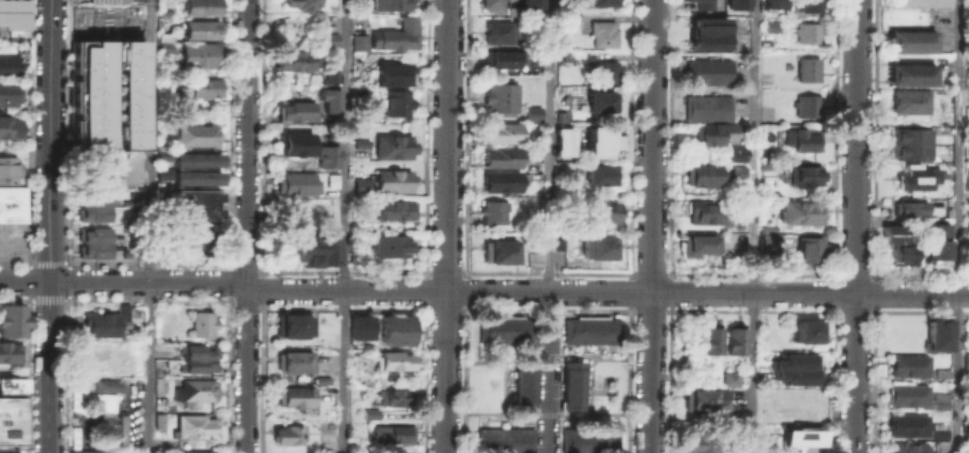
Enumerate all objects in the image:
building: (103, 1)
building: (595, 2)
building: (297, 3)
building: (390, 3)
building: (487, 3)
building: (528, 3)
building: (734, 3)
building: (775, 3)
building: (918, 3)
building: (703, 4)
building: (806, 4)
building: (200, 5)
building: (162, 10)
building: (14, 14)
building: (571, 19)
building: (199, 26)
building: (498, 30)
building: (805, 31)
building: (164, 32)
building: (601, 32)
building: (394, 34)
building: (165, 36)
building: (324, 36)
building: (702, 36)
building: (358, 39)
building: (908, 40)
building: (164, 44)
building: (80, 47)
building: (199, 53)
building: (582, 54)
building: (497, 57)
building: (296, 58)
building: (8, 64)
building: (805, 68)
building: (606, 70)
building: (707, 70)
building: (80, 71)
building: (392, 72)
building: (907, 73)
building: (200, 85)
building: (328, 89)
building: (8, 92)
building: (116, 92)
building: (80, 95)
building: (968, 96)
building: (501, 97)
building: (357, 99)
building: (600, 99)
building: (908, 100)
building: (395, 101)
building: (805, 105)
building: (706, 106)
building: (292, 110)
building: (968, 112)
building: (532, 113)
building: (560, 116)
building: (7, 126)
building: (79, 129)
building: (498, 131)
building: (712, 131)
building: (194, 133)
building: (801, 138)
building: (562, 141)
building: (602, 141)
building: (293, 142)
building: (359, 142)
building: (909, 142)
building: (392, 145)
road: (549, 145)
building: (161, 152)
building: (324, 153)
building: (194, 155)
building: (499, 155)
building: (8, 168)
building: (161, 170)
building: (737, 171)
building: (600, 172)
building: (702, 173)
building: (193, 174)
building: (802, 174)
building: (100, 177)
building: (917, 177)
building: (391, 179)
building: (967, 179)
building: (331, 180)
building: (499, 180)
building: (294, 181)
building: (359, 184)
building: (94, 197)
building: (191, 202)
building: (12, 203)
building: (393, 208)
building: (906, 208)
building: (491, 210)
building: (704, 210)
building: (597, 211)
building: (799, 211)
building: (93, 212)
road: (50, 226)
road: (150, 226)
road: (247, 226)
road: (345, 226)
road: (447, 226)
road: (651, 226)
road: (753, 226)
road: (855, 226)
road: (959, 226)
building: (766, 228)
building: (93, 234)
building: (187, 236)
building: (766, 239)
building: (389, 242)
building: (557, 242)
building: (935, 243)
building: (693, 244)
building: (896, 244)
building: (597, 245)
building: (306, 246)
building: (93, 249)
building: (496, 249)
building: (805, 249)
building: (124, 253)
building: (529, 254)
road: (0, 259)
road: (48, 262)
road: (68, 279)
road: (28, 280)
road: (483, 291)
road: (47, 297)
building: (11, 315)
building: (199, 321)
building: (106, 322)
building: (291, 323)
building: (358, 327)
building: (396, 328)
building: (506, 329)
building: (588, 329)
building: (804, 330)
building: (935, 334)
building: (706, 337)
building: (732, 339)
building: (10, 348)
building: (197, 356)
building: (391, 359)
building: (290, 360)
building: (966, 360)
building: (906, 365)
building: (796, 368)
road: (548, 372)
building: (939, 373)
building: (729, 378)
building: (13, 381)
building: (102, 384)
building: (570, 384)
building: (522, 387)
building: (193, 388)
building: (906, 394)
building: (292, 395)
building: (390, 396)
building: (700, 396)
building: (13, 399)
building: (103, 401)
building: (792, 402)
building: (368, 412)
building: (965, 413)
building: (6, 416)
building: (726, 416)
building: (156, 417)
building: (193, 424)
building: (905, 424)
building: (121, 429)
building: (12, 431)
building: (936, 431)
building: (391, 432)
building: (286, 434)
building: (799, 436)
building: (326, 438)
building: (588, 438)
building: (504, 439)
building: (696, 440)
building: (938, 446)
building: (906, 447)
building: (6, 449)
building: (86, 450)
building: (194, 451)

